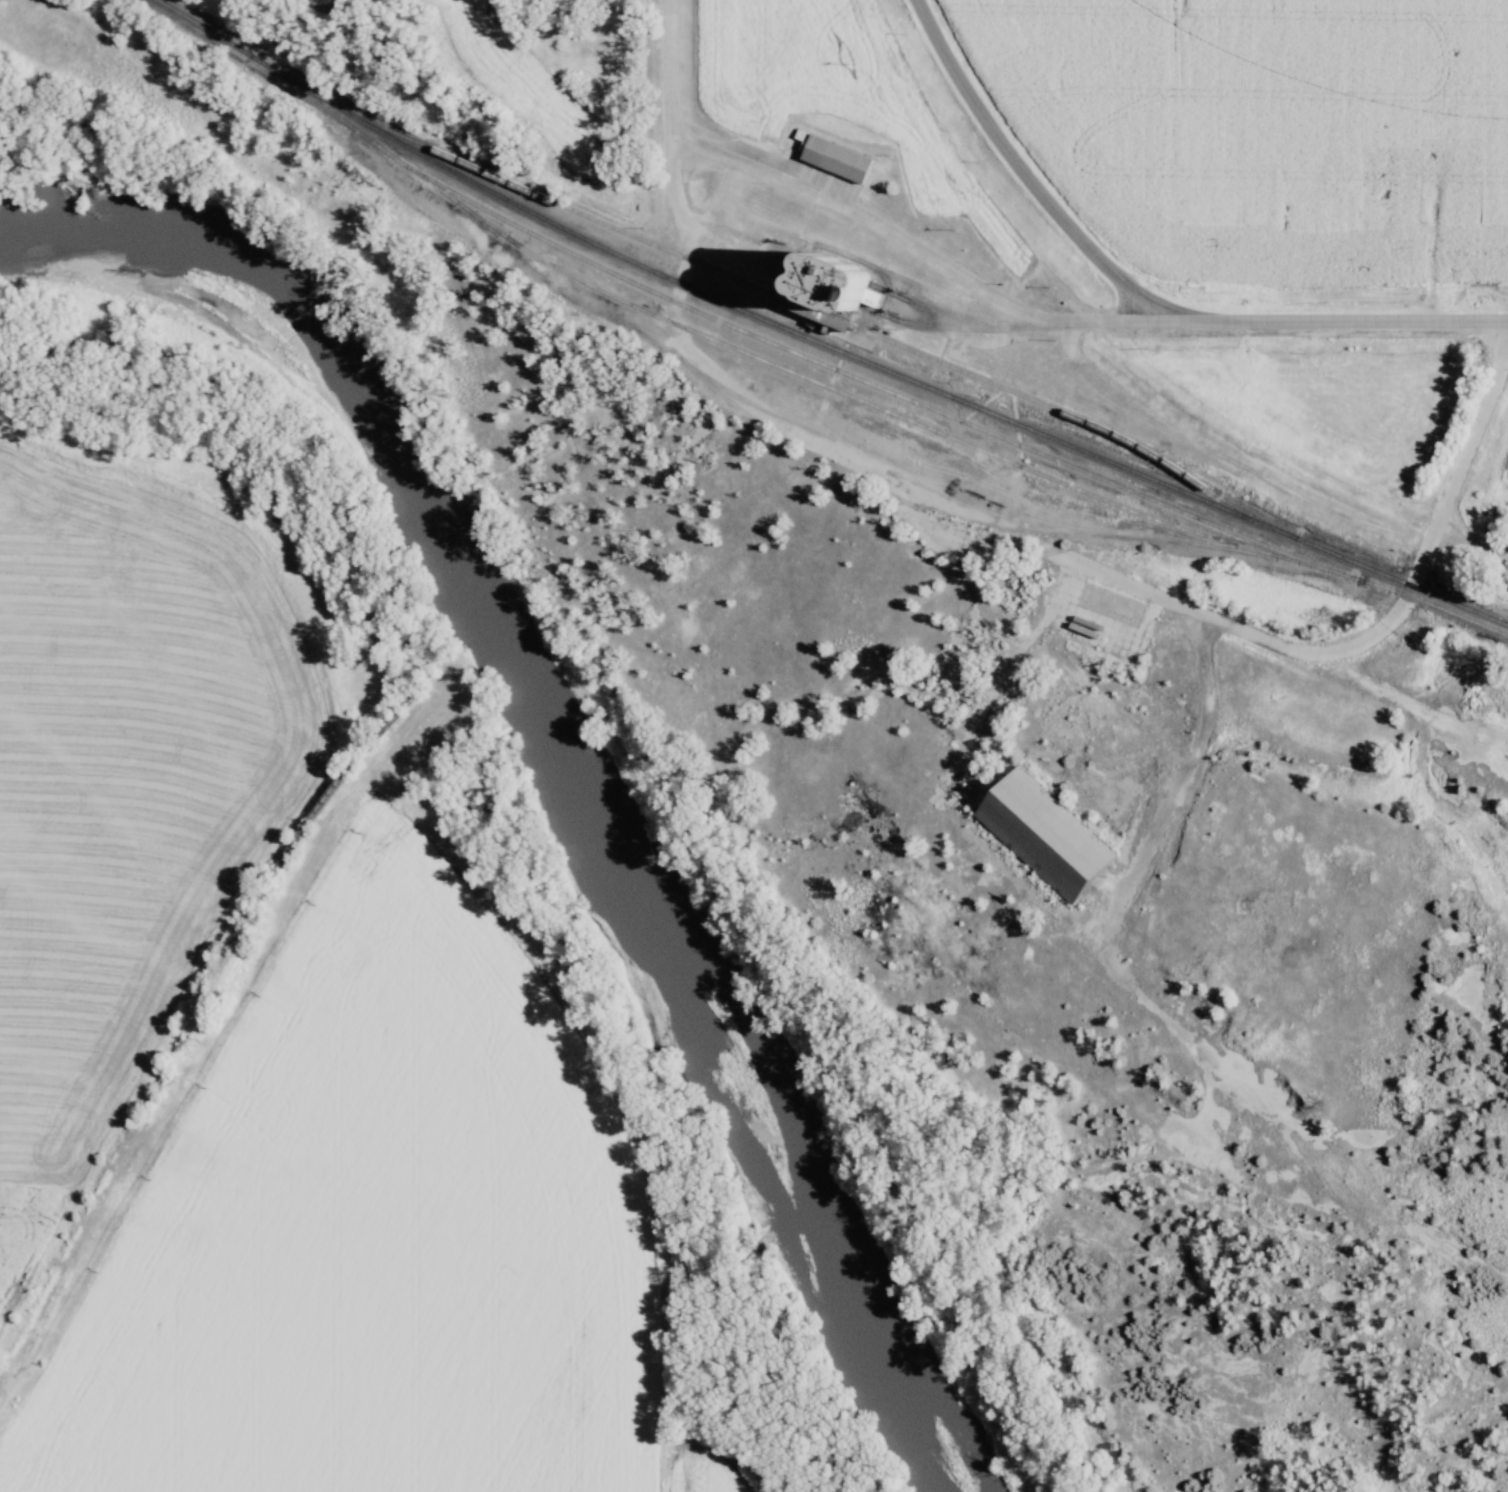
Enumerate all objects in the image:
building: (827, 157)
road: (1024, 174)
building: (723, 188)
road: (751, 224)
road: (922, 253)
railway: (809, 308)
road: (1338, 322)
railway: (764, 342)
railway: (817, 344)
railway: (844, 393)
road: (1115, 578)
railway: (1406, 596)
river: (582, 753)
building: (1040, 832)

